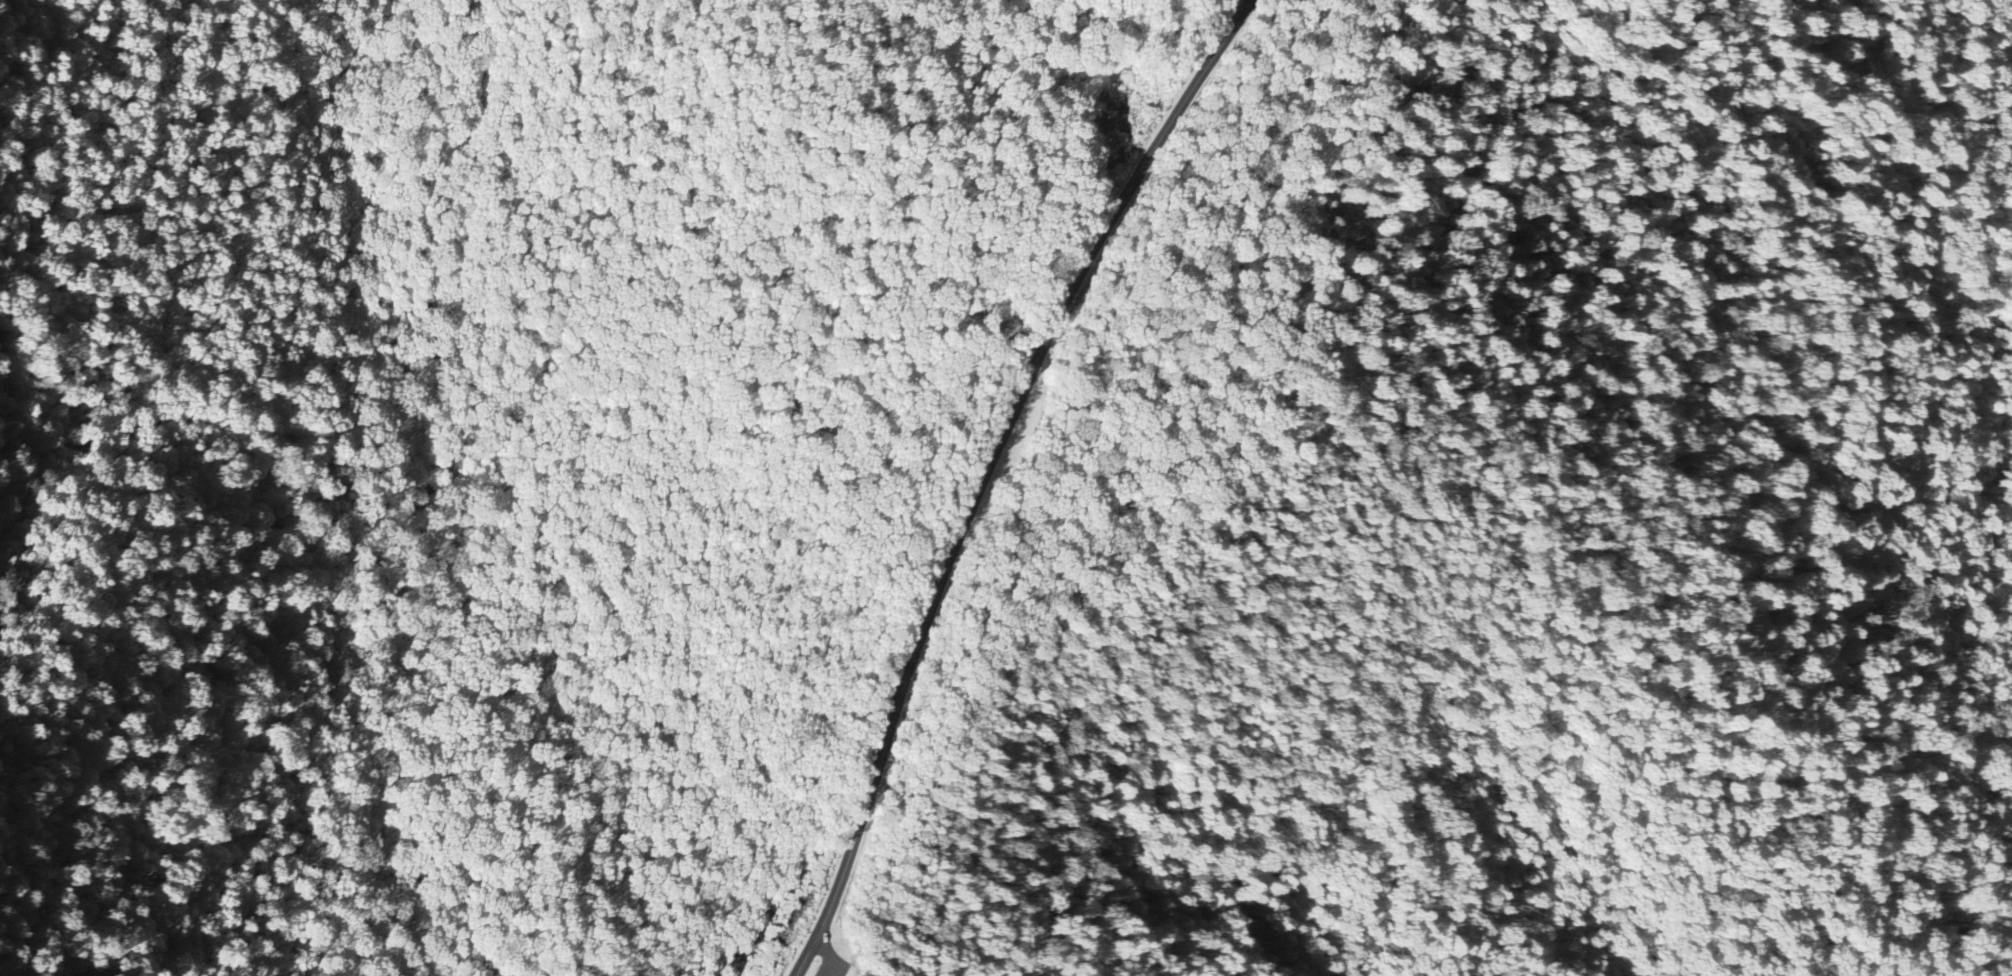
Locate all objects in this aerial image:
road: (1249, 3)
road: (1205, 442)
road: (991, 472)
road: (411, 510)
road: (833, 950)

